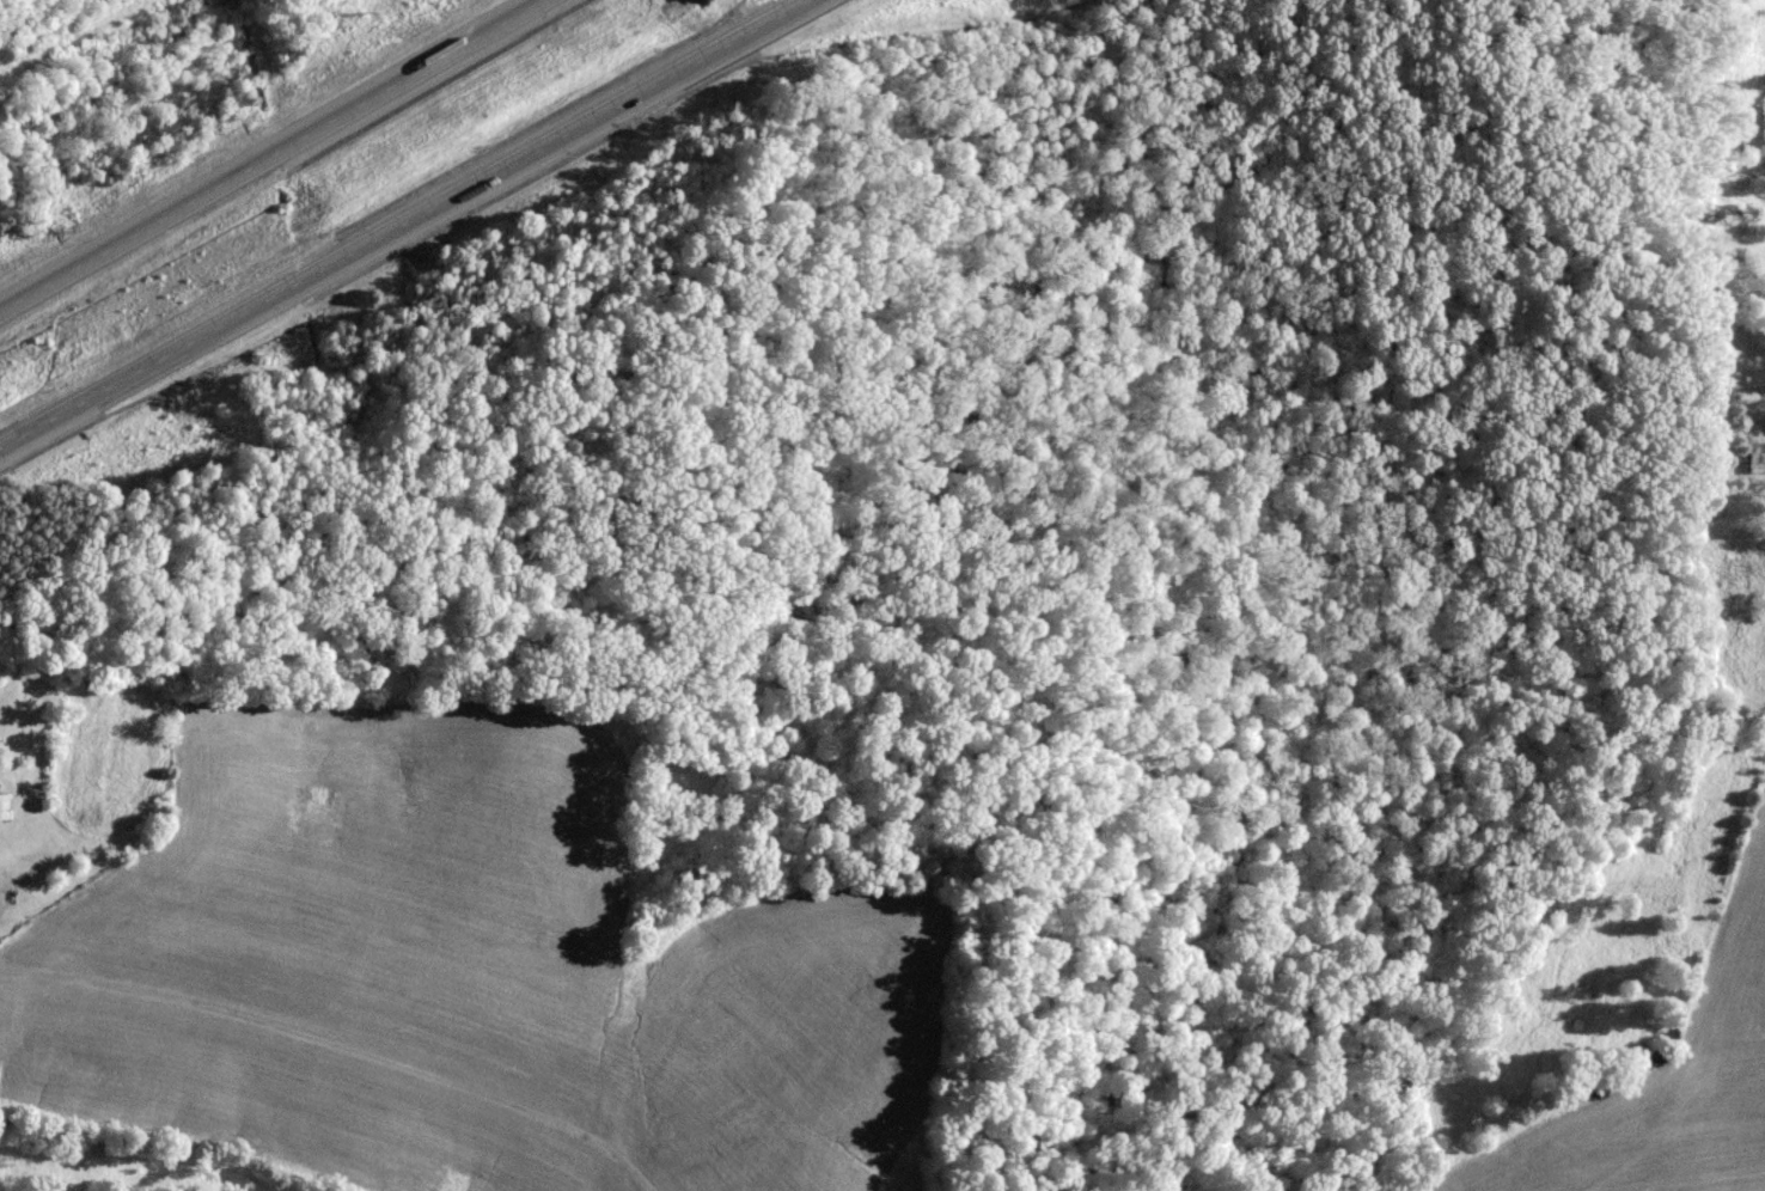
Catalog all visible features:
road: (277, 160)
road: (405, 224)
building: (1755, 460)
building: (2, 808)
building: (1667, 1037)

